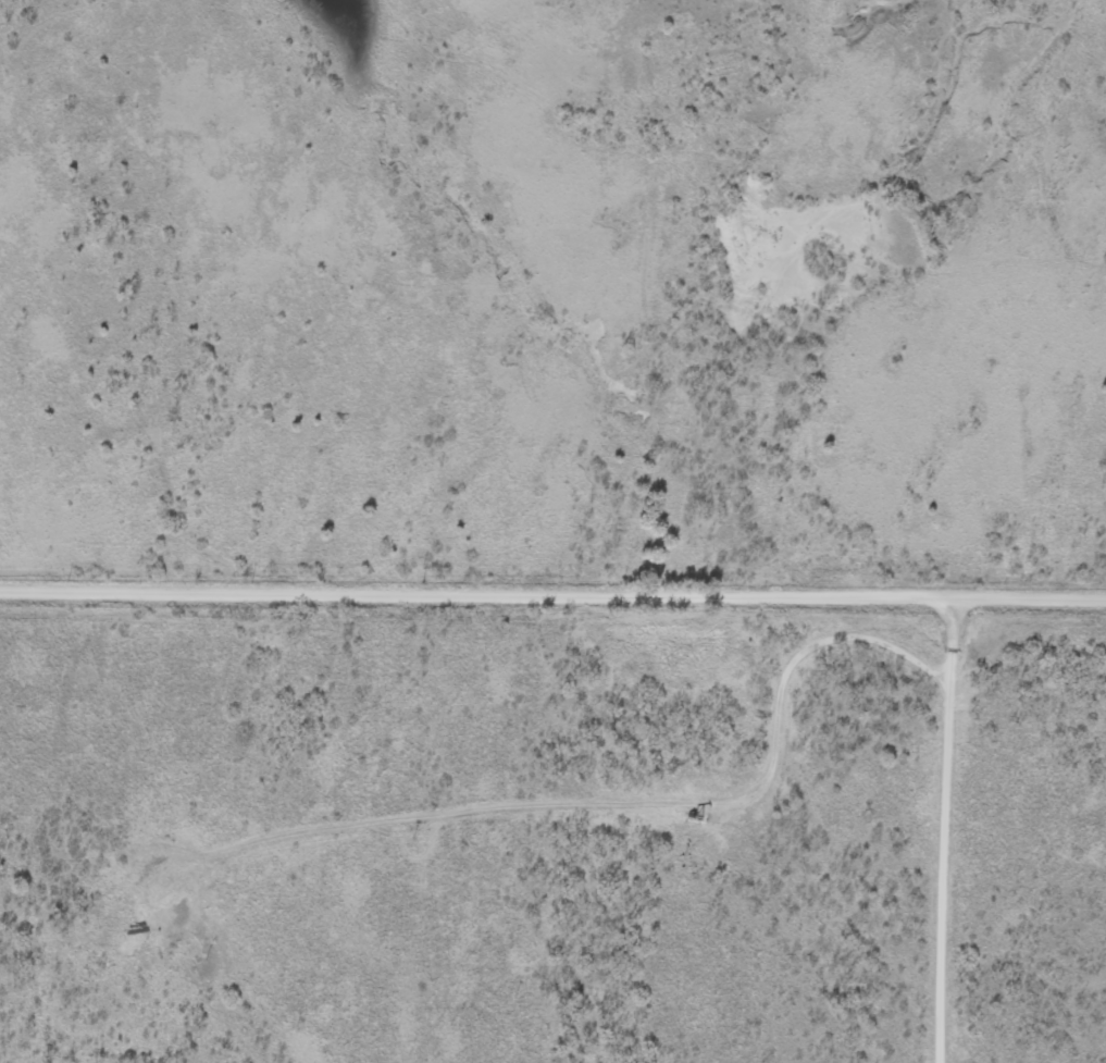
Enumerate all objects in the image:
road: (552, 596)
road: (991, 830)

